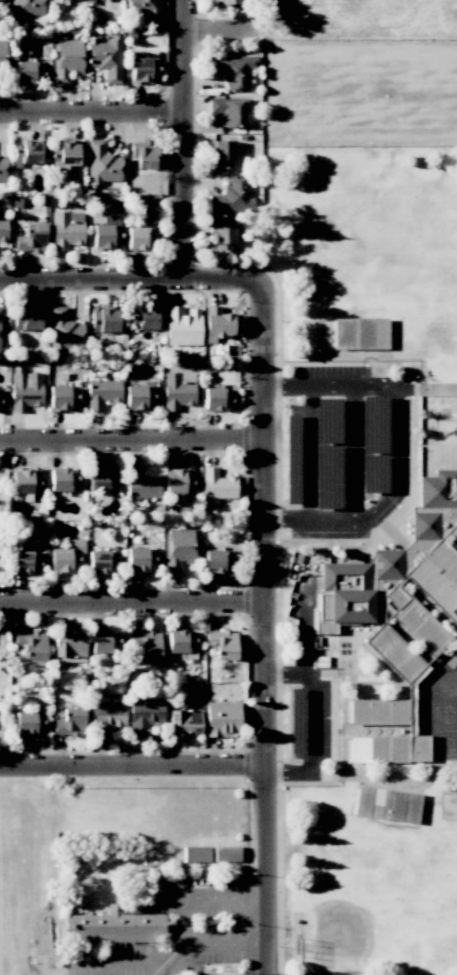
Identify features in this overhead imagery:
building: (0, 0)
building: (225, 2)
building: (27, 8)
building: (142, 8)
building: (2, 57)
building: (107, 59)
building: (67, 60)
building: (233, 69)
building: (143, 70)
building: (28, 71)
building: (232, 111)
road: (91, 113)
road: (183, 140)
building: (26, 153)
building: (221, 154)
building: (64, 155)
building: (143, 155)
building: (102, 163)
building: (2, 169)
building: (232, 196)
building: (3, 230)
building: (66, 230)
building: (106, 234)
building: (224, 237)
building: (139, 238)
building: (31, 239)
road: (132, 281)
building: (144, 318)
building: (28, 319)
building: (104, 319)
building: (216, 324)
building: (0, 330)
building: (64, 331)
building: (360, 334)
building: (25, 389)
building: (178, 390)
road: (310, 390)
building: (101, 392)
building: (138, 397)
building: (62, 399)
building: (216, 399)
road: (133, 445)
road: (353, 454)
road: (310, 456)
building: (63, 480)
building: (100, 480)
building: (178, 480)
building: (141, 485)
building: (216, 486)
road: (393, 492)
building: (177, 549)
building: (66, 558)
building: (140, 560)
building: (217, 561)
building: (25, 562)
building: (101, 562)
building: (361, 579)
road: (132, 603)
road: (265, 629)
building: (103, 642)
building: (146, 644)
building: (181, 644)
building: (222, 644)
building: (31, 646)
building: (69, 647)
road: (287, 673)
road: (308, 677)
building: (410, 710)
building: (377, 711)
building: (145, 715)
building: (106, 717)
building: (222, 719)
building: (70, 722)
building: (184, 722)
building: (28, 724)
road: (134, 769)
building: (362, 801)
building: (379, 804)
building: (395, 806)
building: (411, 807)
building: (195, 854)
building: (226, 854)
building: (150, 882)
road: (255, 897)
road: (242, 898)
building: (116, 927)
road: (256, 945)
road: (167, 957)

